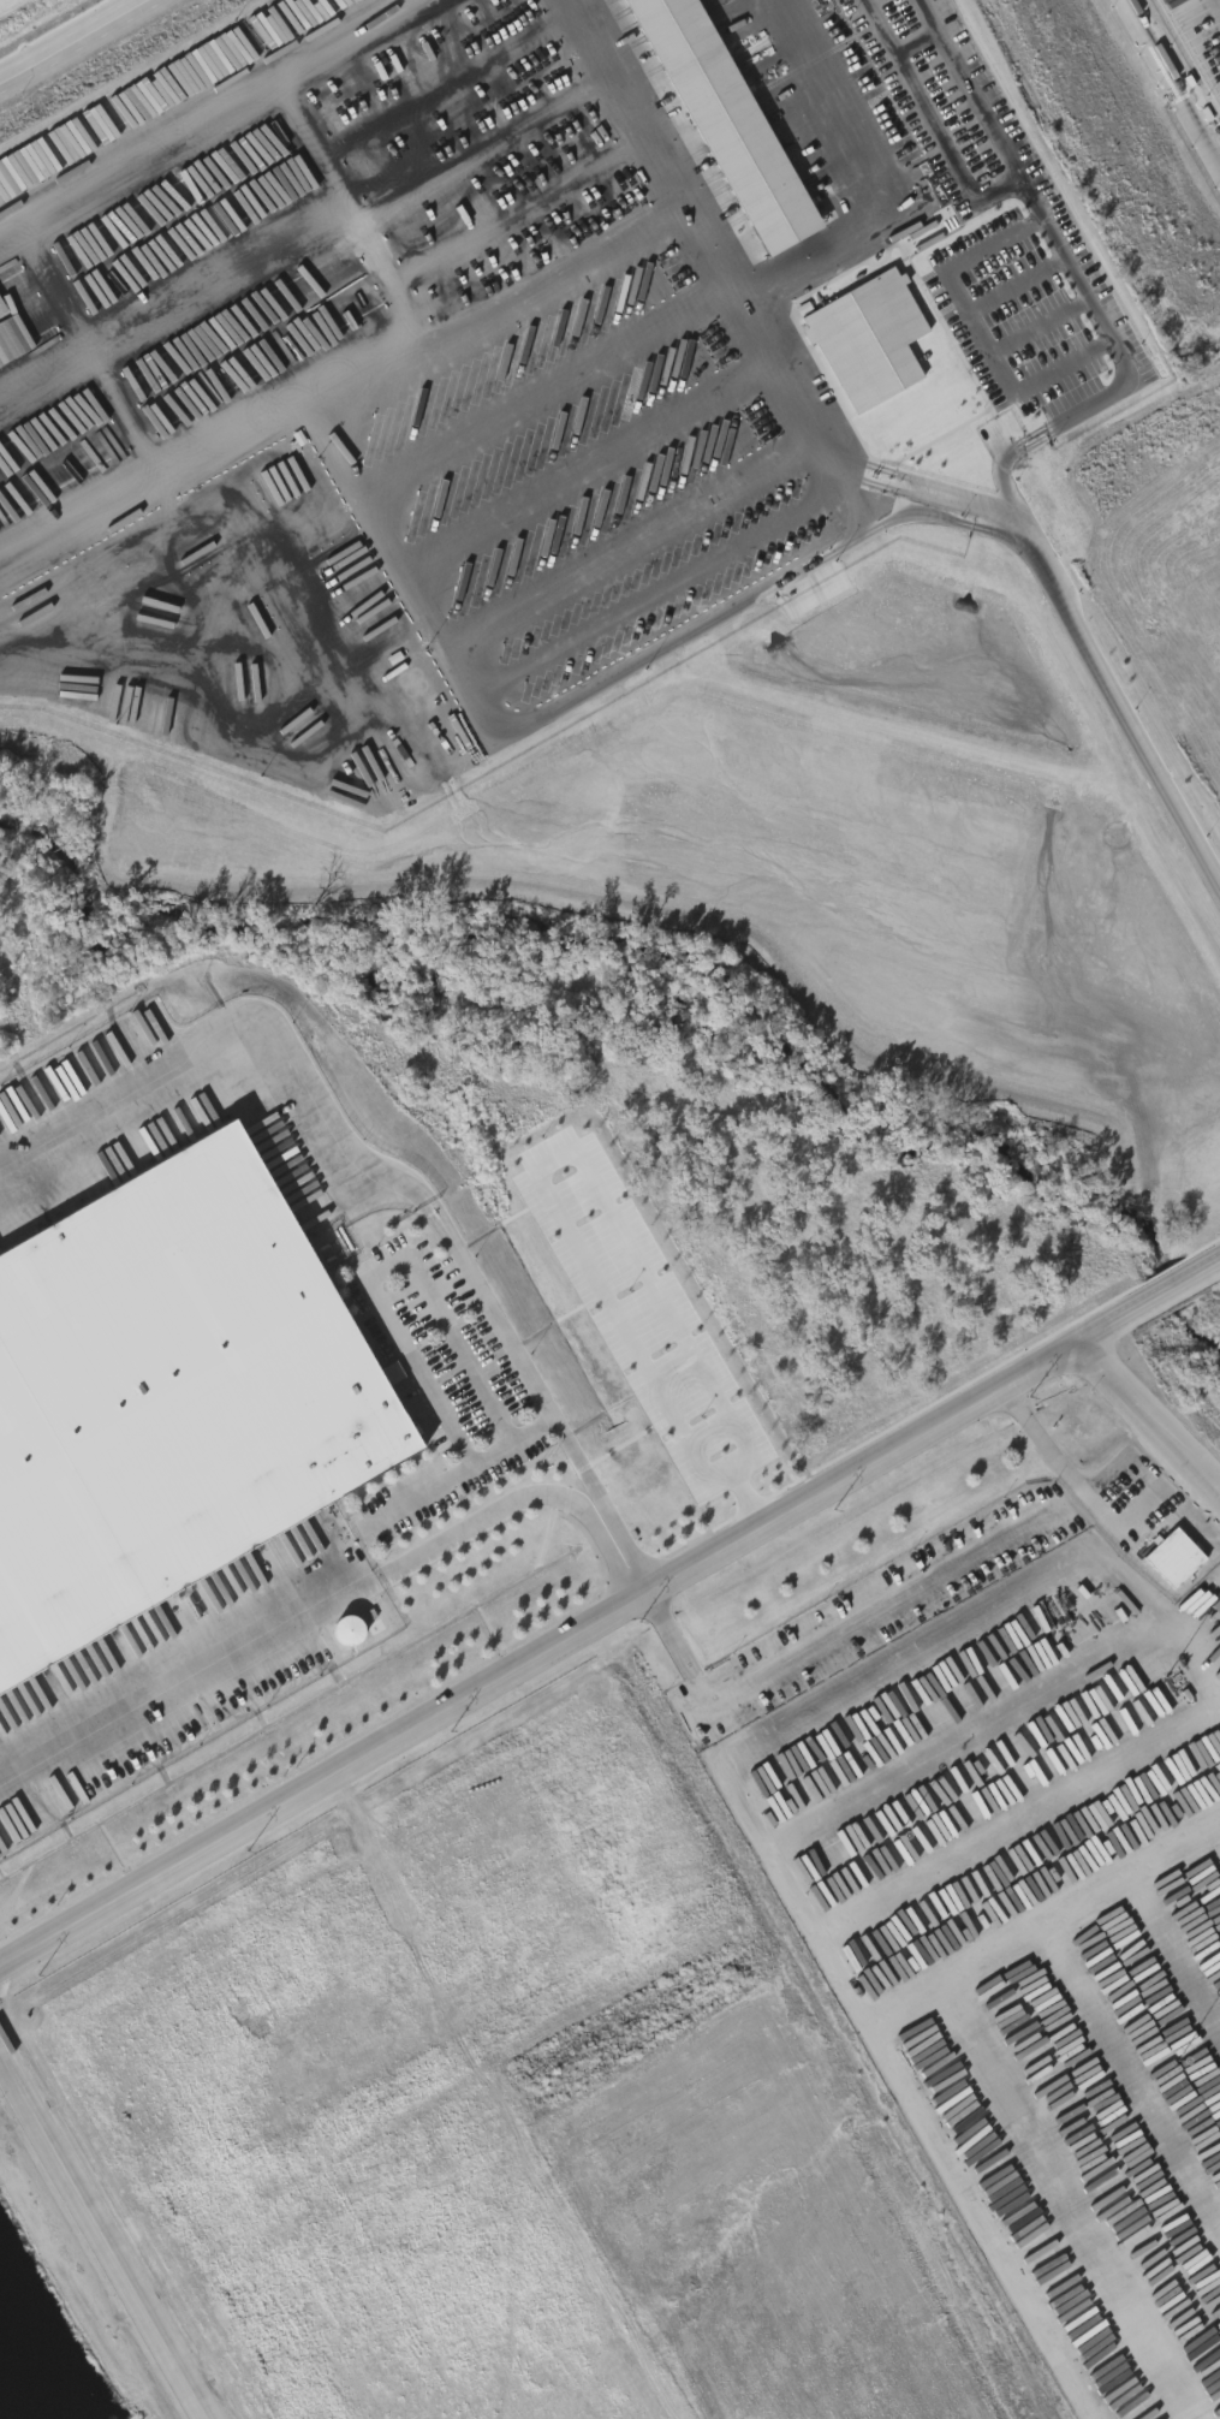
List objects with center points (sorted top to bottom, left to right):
road: (76, 41)
road: (913, 44)
road: (1178, 77)
road: (445, 83)
road: (966, 93)
road: (207, 118)
road: (928, 119)
road: (480, 145)
road: (880, 182)
road: (350, 207)
road: (1028, 208)
road: (517, 214)
road: (945, 286)
road: (1010, 290)
road: (175, 308)
road: (740, 326)
road: (1034, 329)
road: (91, 353)
road: (332, 381)
road: (547, 399)
road: (587, 471)
road: (627, 551)
road: (662, 587)
road: (1059, 601)
road: (578, 703)
road: (216, 1080)
road: (552, 1160)
road: (388, 1271)
building: (392, 1373)
building: (169, 1395)
road: (541, 1396)
road: (1147, 1416)
road: (462, 1470)
road: (728, 1470)
road: (1065, 1474)
road: (743, 1497)
building: (1178, 1556)
building: (1218, 1605)
road: (320, 1609)
road: (609, 1609)
road: (831, 1640)
building: (1208, 1644)
road: (859, 1684)
road: (380, 1852)
road: (879, 2051)
road: (101, 2240)

